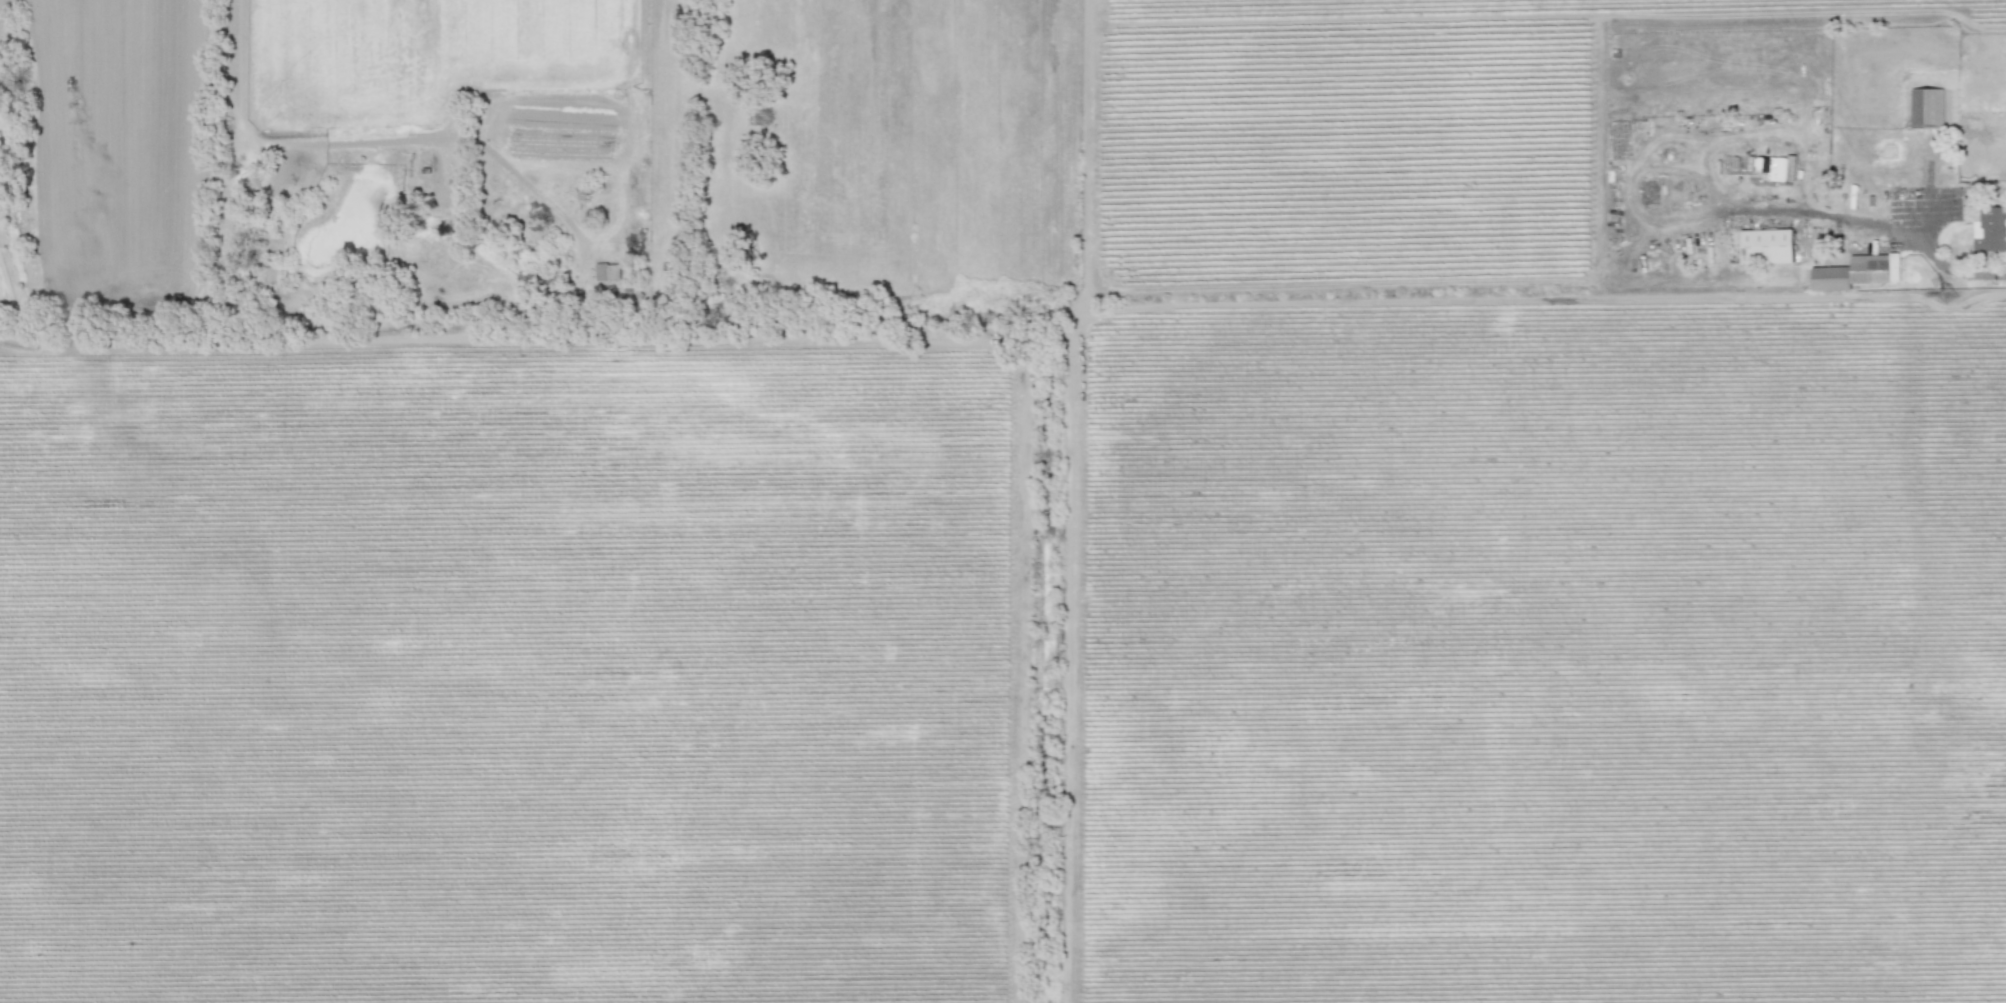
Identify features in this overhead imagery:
building: (1927, 108)
road: (371, 140)
building: (1990, 230)
building: (1766, 246)
road: (1960, 260)
building: (607, 271)
building: (1857, 272)
power tower: (1943, 293)

